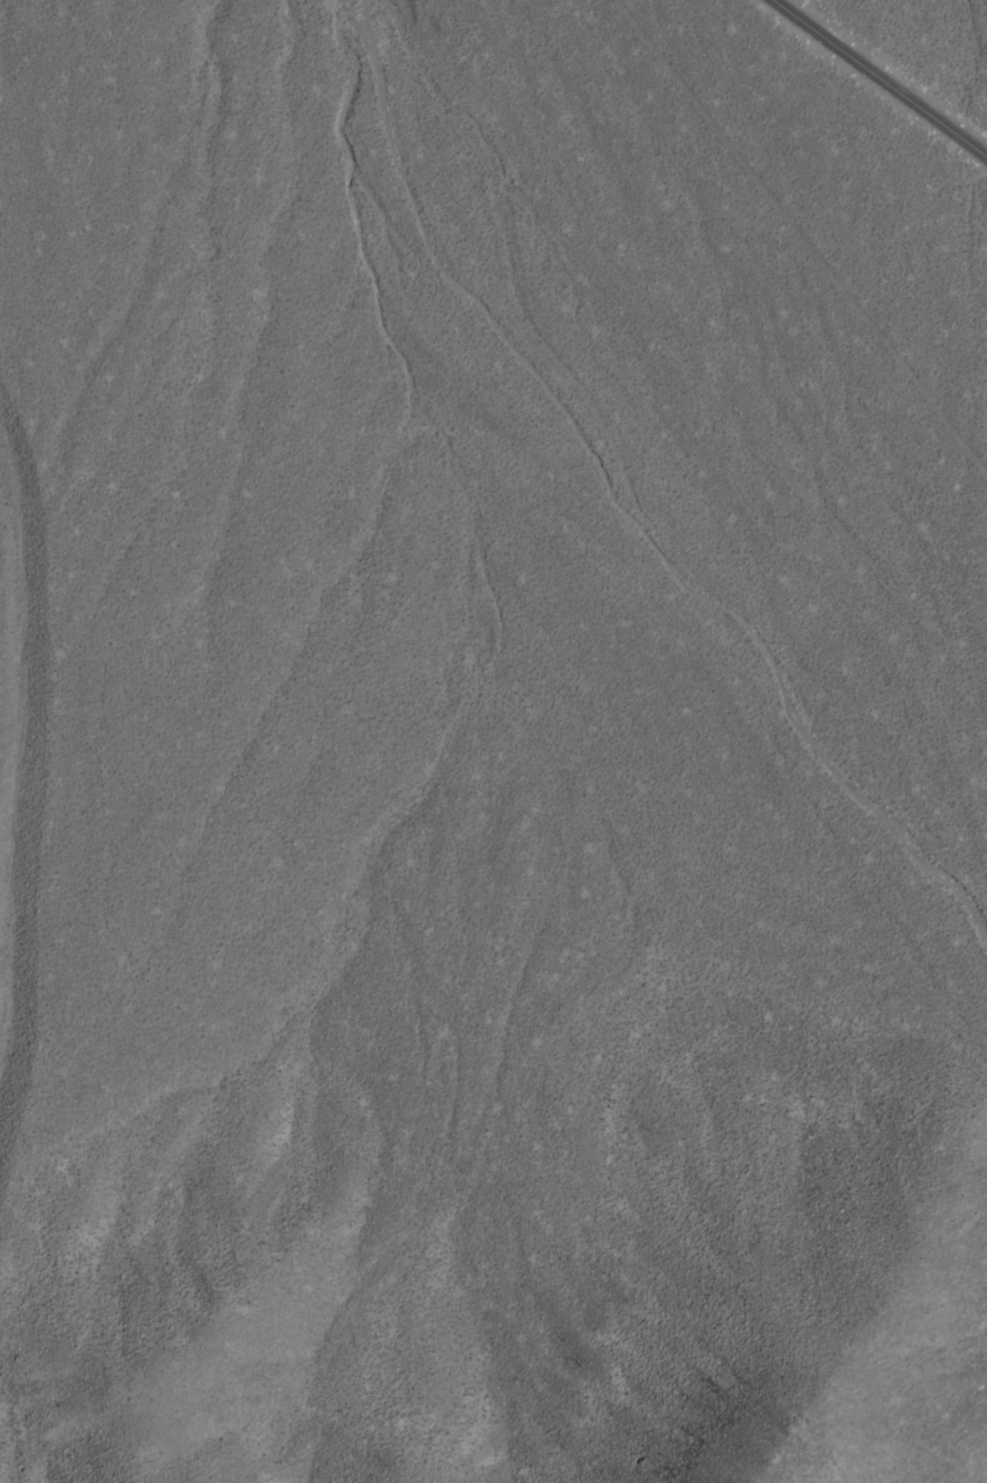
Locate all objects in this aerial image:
road: (882, 77)
road: (802, 238)

